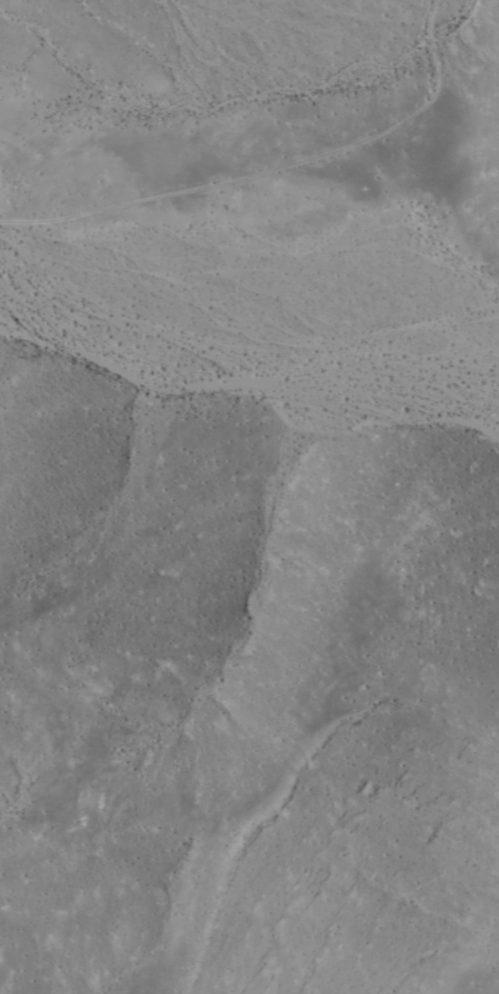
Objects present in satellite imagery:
road: (275, 171)

